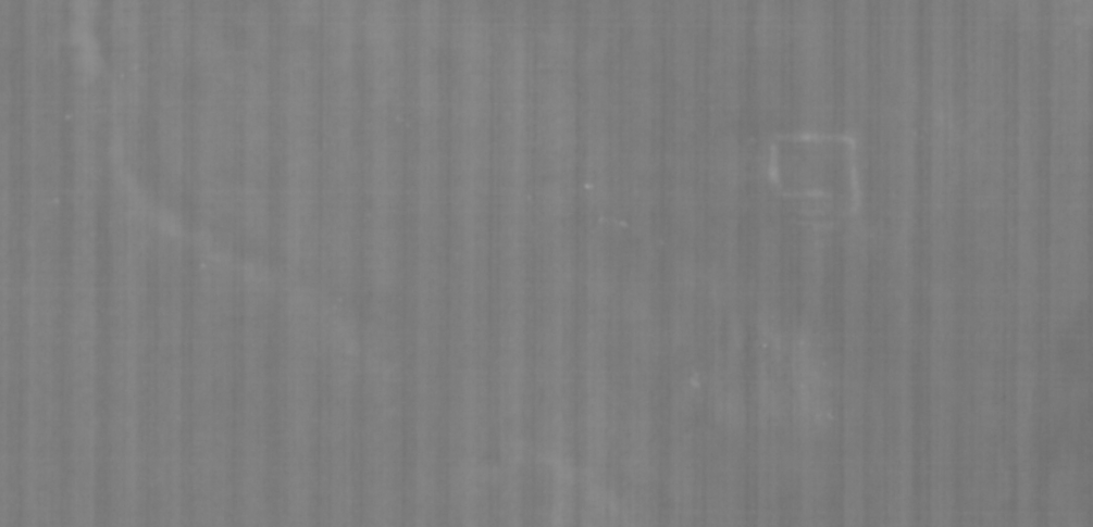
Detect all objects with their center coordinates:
crop: (546, 263)

